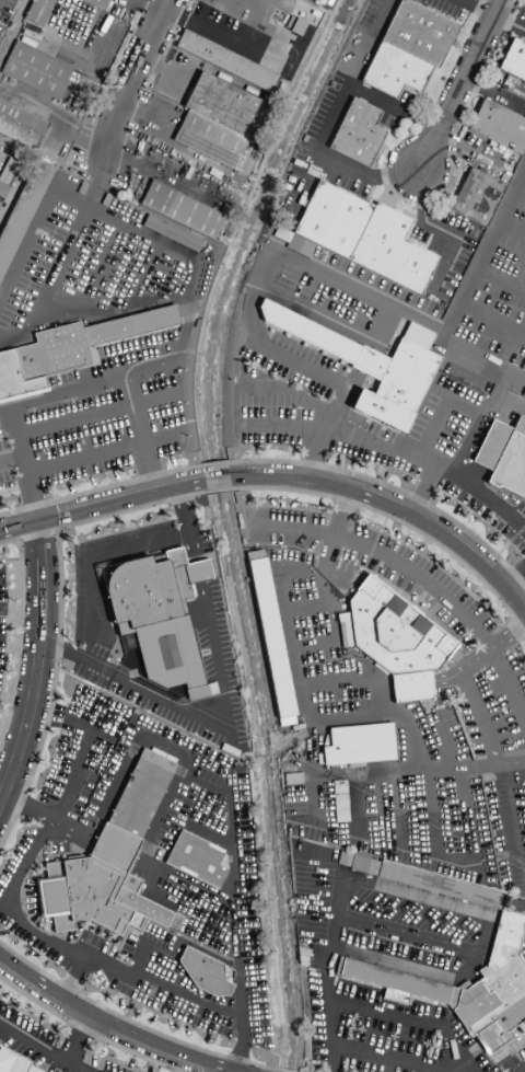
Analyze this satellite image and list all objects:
building: (95, 3)
road: (149, 8)
road: (477, 9)
building: (38, 11)
road: (244, 49)
building: (407, 49)
building: (225, 61)
building: (513, 61)
building: (35, 70)
road: (132, 82)
road: (459, 84)
road: (392, 111)
building: (214, 120)
road: (331, 124)
building: (20, 126)
building: (498, 127)
building: (357, 134)
road: (523, 177)
building: (476, 197)
building: (180, 210)
building: (23, 211)
road: (512, 229)
building: (172, 233)
building: (361, 235)
building: (293, 243)
road: (170, 249)
road: (307, 268)
road: (55, 273)
road: (98, 273)
parking lot: (74, 274)
road: (142, 275)
road: (501, 281)
parking lot: (491, 299)
building: (435, 314)
road: (492, 321)
road: (332, 322)
building: (132, 326)
building: (54, 353)
building: (363, 358)
road: (483, 359)
road: (128, 379)
building: (16, 380)
road: (290, 391)
road: (463, 407)
road: (12, 411)
road: (97, 412)
building: (382, 412)
parking lot: (79, 437)
building: (490, 446)
road: (390, 448)
road: (105, 452)
road: (12, 459)
building: (511, 462)
road: (217, 480)
road: (15, 488)
road: (422, 488)
road: (395, 506)
road: (101, 508)
road: (187, 526)
road: (332, 539)
road: (385, 555)
road: (90, 560)
road: (294, 572)
road: (199, 574)
road: (515, 574)
building: (154, 588)
road: (203, 590)
road: (306, 609)
building: (397, 630)
building: (269, 634)
road: (312, 646)
building: (168, 654)
road: (474, 659)
road: (39, 667)
road: (364, 675)
road: (334, 681)
road: (509, 681)
road: (406, 685)
road: (386, 688)
building: (406, 688)
road: (481, 717)
road: (199, 718)
road: (124, 728)
building: (360, 745)
road: (417, 765)
road: (310, 785)
building: (141, 794)
building: (341, 802)
road: (355, 805)
road: (26, 807)
road: (397, 809)
road: (516, 816)
road: (454, 818)
building: (197, 860)
building: (365, 866)
building: (442, 885)
road: (194, 888)
building: (98, 889)
road: (492, 922)
road: (511, 927)
road: (524, 931)
road: (398, 933)
road: (325, 963)
road: (423, 972)
building: (205, 973)
road: (72, 979)
building: (468, 989)
road: (245, 1013)
road: (409, 1018)
road: (109, 1025)
road: (43, 1048)
road: (241, 1048)
road: (394, 1058)
building: (8, 1060)
road: (62, 1067)
road: (518, 1068)

